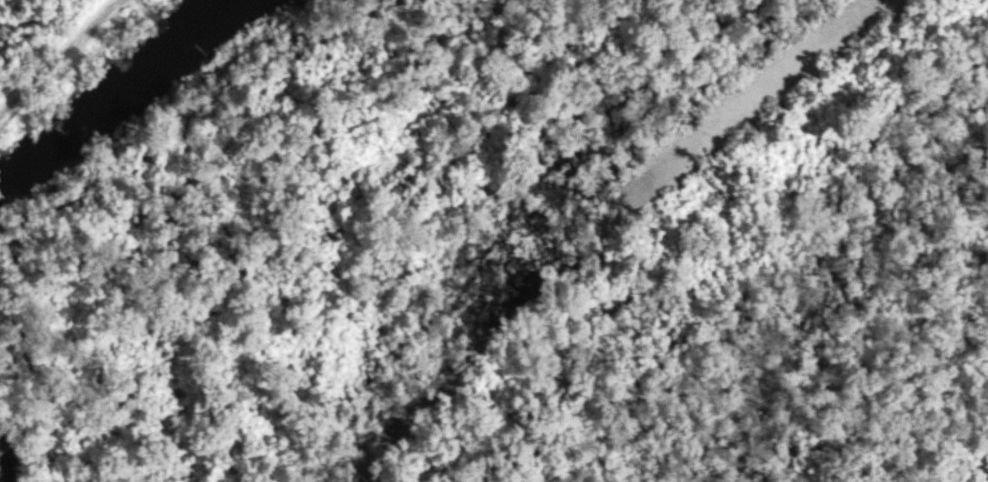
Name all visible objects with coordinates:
road: (54, 55)

